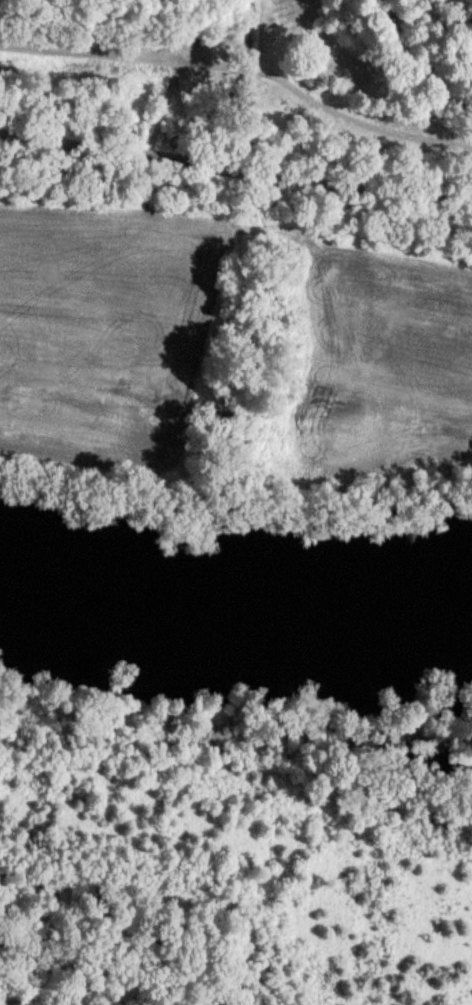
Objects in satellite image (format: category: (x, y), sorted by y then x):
road: (413, 65)
road: (243, 71)
road: (236, 162)
river: (235, 590)

